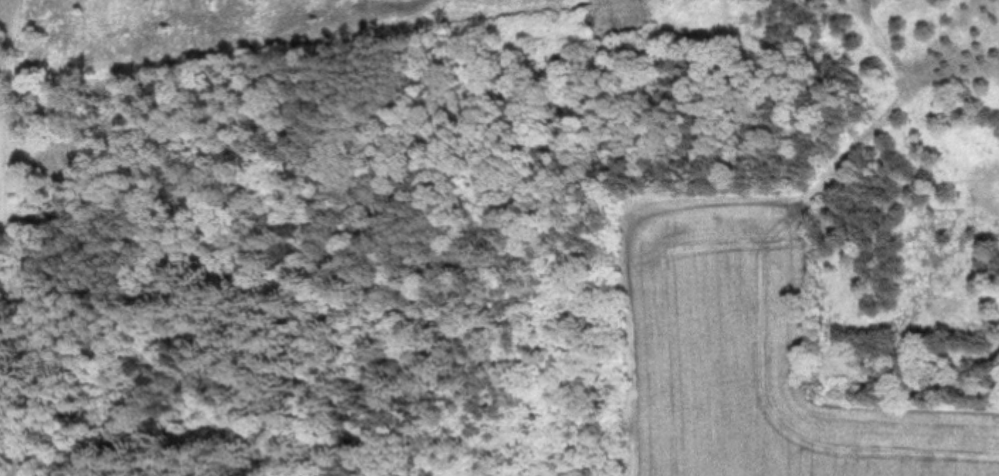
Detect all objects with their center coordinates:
road: (273, 37)
road: (891, 108)
road: (7, 238)
crop: (809, 300)

